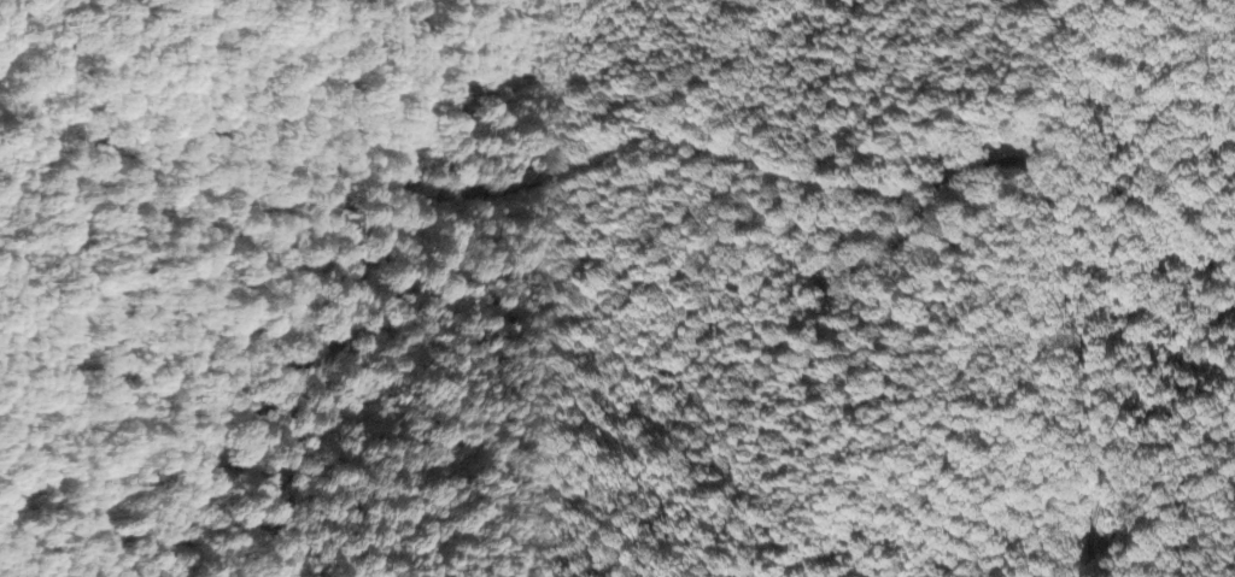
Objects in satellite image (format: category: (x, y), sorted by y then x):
road: (4, 27)

